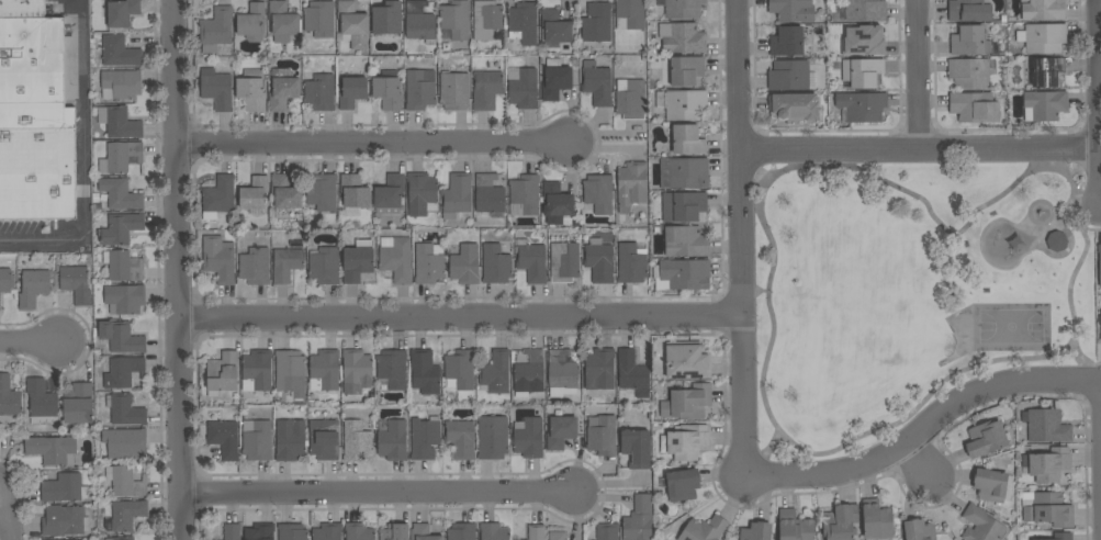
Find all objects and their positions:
building: (120, 0)
building: (22, 9)
building: (683, 9)
building: (791, 10)
building: (865, 10)
building: (1044, 10)
building: (968, 11)
building: (122, 13)
building: (629, 14)
building: (485, 19)
building: (319, 20)
building: (350, 20)
building: (454, 20)
building: (386, 21)
building: (251, 22)
building: (283, 22)
building: (419, 22)
building: (596, 23)
building: (523, 24)
building: (554, 29)
building: (216, 30)
building: (682, 38)
building: (1044, 38)
building: (787, 42)
building: (862, 42)
building: (969, 42)
building: (120, 52)
building: (686, 70)
building: (862, 72)
building: (1045, 72)
building: (969, 74)
building: (33, 76)
building: (788, 76)
road: (918, 76)
building: (554, 80)
building: (596, 83)
building: (121, 85)
building: (523, 88)
building: (282, 89)
building: (419, 89)
building: (216, 90)
building: (486, 90)
building: (251, 91)
building: (387, 91)
building: (454, 91)
building: (351, 92)
building: (319, 93)
building: (631, 101)
road: (1099, 104)
building: (685, 105)
building: (1044, 105)
building: (861, 106)
building: (969, 106)
building: (794, 108)
building: (119, 123)
building: (683, 142)
road: (374, 146)
road: (920, 153)
road: (81, 156)
building: (120, 157)
road: (1081, 164)
road: (752, 171)
building: (684, 173)
building: (37, 175)
building: (631, 184)
building: (285, 192)
building: (322, 192)
building: (353, 192)
building: (254, 193)
building: (598, 193)
building: (120, 194)
building: (420, 194)
building: (488, 194)
building: (390, 195)
building: (218, 196)
building: (457, 196)
building: (524, 196)
building: (555, 203)
building: (683, 206)
road: (761, 207)
road: (1091, 216)
building: (121, 228)
road: (741, 240)
building: (685, 241)
building: (1056, 241)
building: (395, 258)
building: (358, 261)
building: (531, 261)
building: (599, 261)
building: (220, 262)
building: (564, 262)
building: (1099, 262)
building: (285, 263)
building: (428, 263)
building: (631, 263)
building: (495, 265)
building: (324, 266)
building: (464, 266)
building: (122, 267)
building: (255, 267)
road: (178, 270)
building: (683, 274)
building: (4, 281)
building: (76, 284)
building: (33, 289)
road: (754, 292)
park: (910, 293)
building: (125, 300)
road: (460, 318)
building: (1099, 319)
park: (1012, 327)
building: (1100, 337)
building: (121, 338)
road: (31, 344)
building: (686, 361)
road: (1088, 365)
building: (357, 368)
building: (325, 369)
building: (392, 369)
building: (460, 369)
building: (561, 370)
building: (599, 370)
building: (257, 371)
building: (529, 371)
building: (122, 372)
building: (223, 372)
building: (424, 372)
building: (495, 372)
building: (290, 373)
building: (632, 373)
building: (561, 392)
building: (9, 397)
building: (42, 403)
building: (687, 403)
building: (78, 404)
building: (125, 410)
building: (1046, 426)
road: (924, 429)
building: (560, 432)
building: (602, 435)
building: (223, 438)
building: (425, 438)
building: (492, 438)
building: (528, 438)
building: (324, 439)
building: (460, 439)
building: (985, 439)
building: (257, 440)
building: (290, 440)
building: (356, 441)
building: (393, 441)
building: (687, 442)
building: (125, 443)
building: (636, 448)
building: (52, 450)
road: (765, 451)
road: (920, 463)
building: (1049, 464)
building: (125, 482)
building: (682, 484)
building: (992, 485)
building: (64, 488)
road: (380, 495)
building: (1046, 509)
building: (127, 515)
road: (9, 517)
building: (639, 519)
building: (876, 520)
building: (64, 521)
building: (840, 522)
building: (980, 525)
building: (794, 527)
building: (704, 529)
building: (919, 530)
building: (260, 531)
building: (327, 531)
building: (359, 531)
building: (461, 531)
building: (607, 531)
building: (756, 531)
building: (232, 532)
building: (292, 532)
building: (394, 532)
building: (423, 532)
building: (493, 532)
building: (536, 532)
building: (557, 536)
building: (1063, 536)
building: (121, 538)
building: (76, 539)

